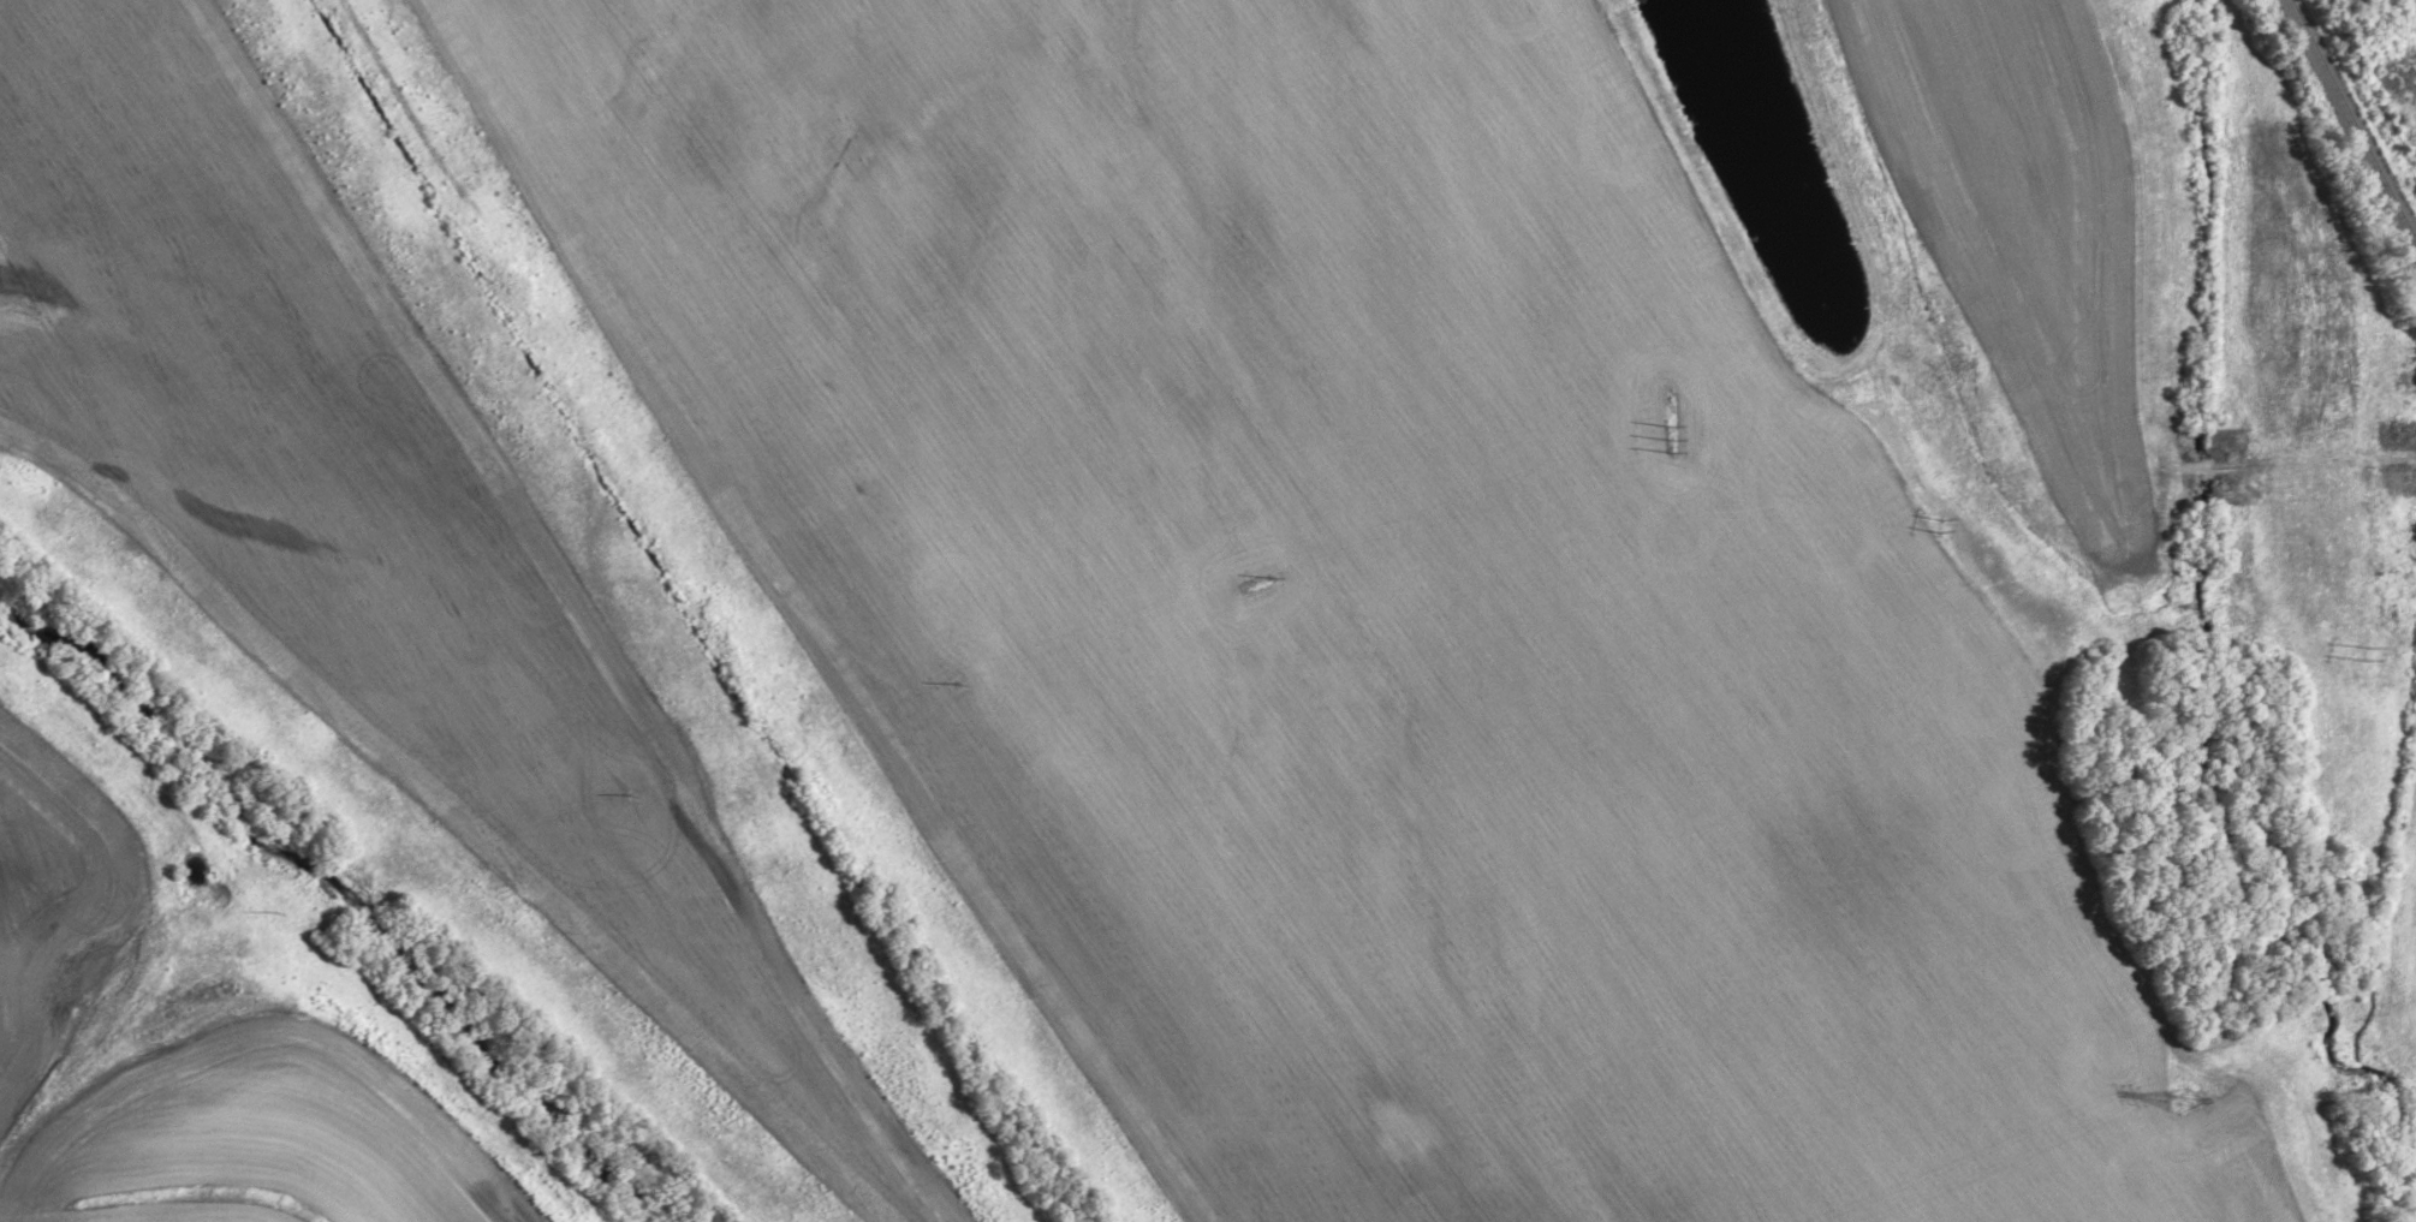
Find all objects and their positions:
railway: (2352, 121)
power tower: (2182, 1097)

